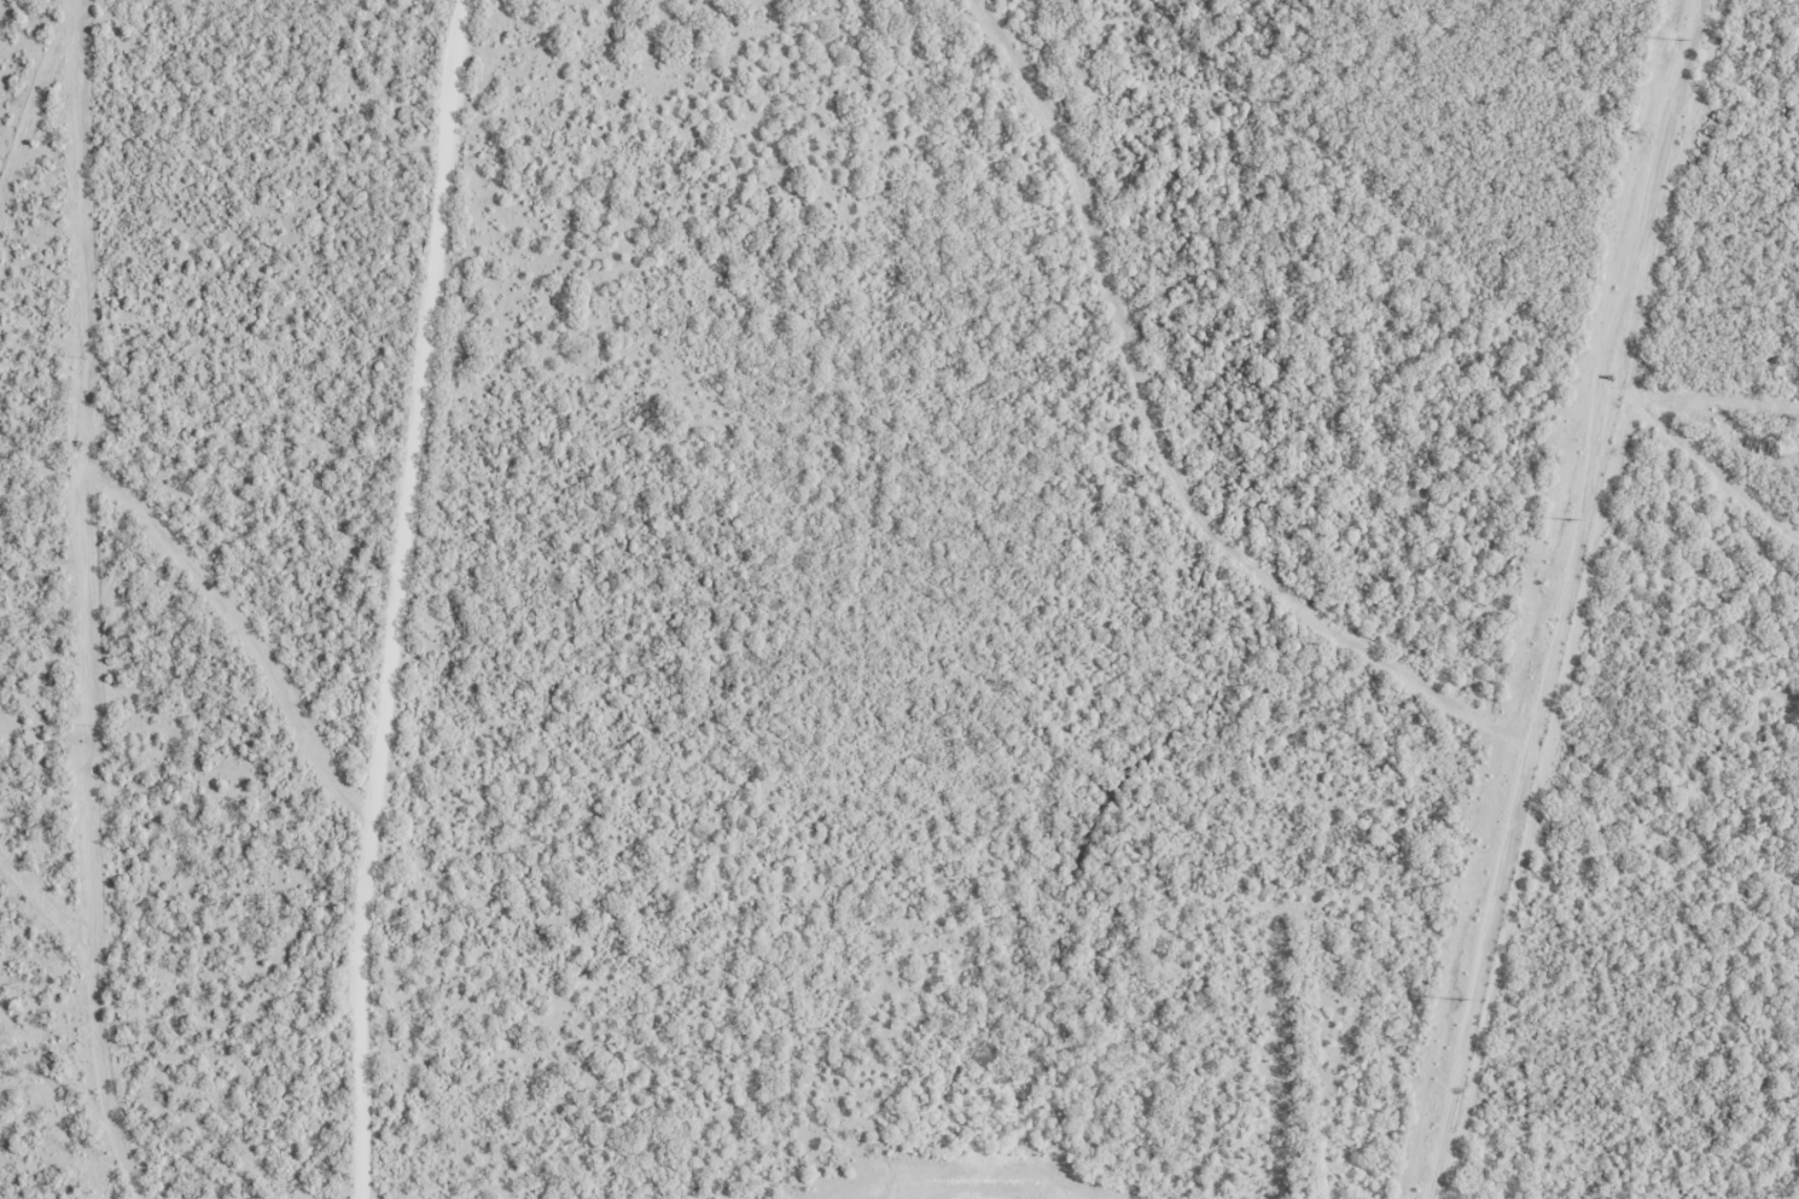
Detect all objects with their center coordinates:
power tower: (1676, 39)
power tower: (1566, 518)
road: (396, 598)
power tower: (1456, 999)

